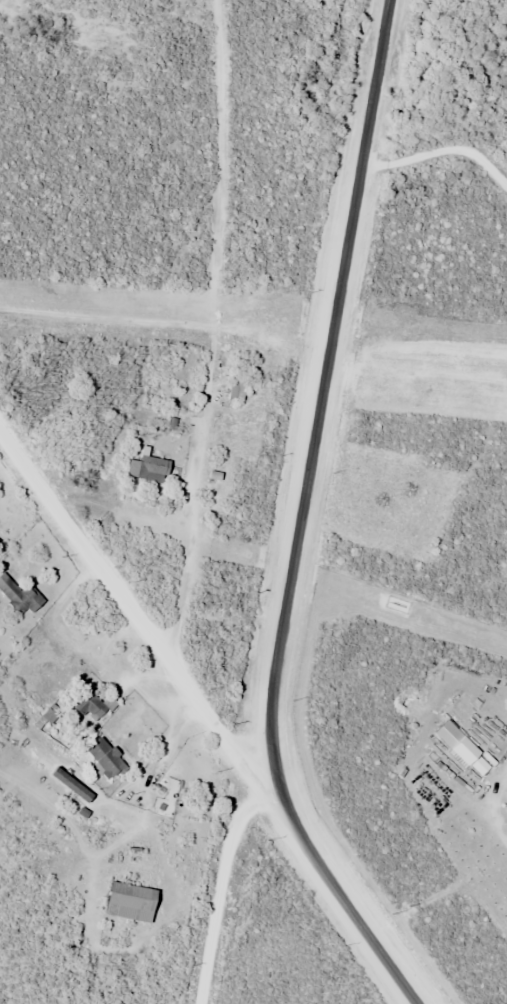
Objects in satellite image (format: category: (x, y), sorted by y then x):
building: (237, 387)
road: (320, 408)
building: (150, 468)
building: (20, 596)
road: (142, 625)
building: (91, 706)
building: (106, 758)
building: (132, 902)
road: (355, 910)

